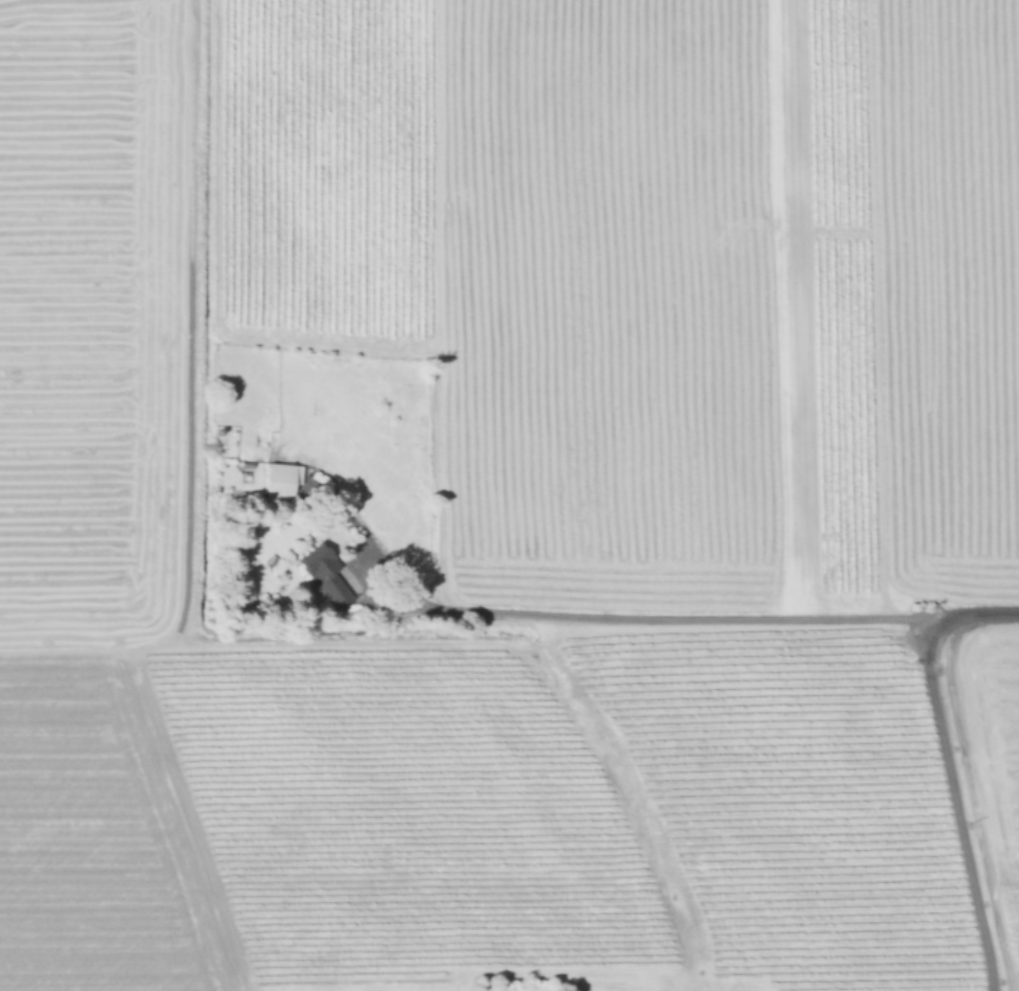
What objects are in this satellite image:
building: (279, 482)
crop: (509, 495)
building: (323, 574)
road: (698, 616)
road: (947, 765)

